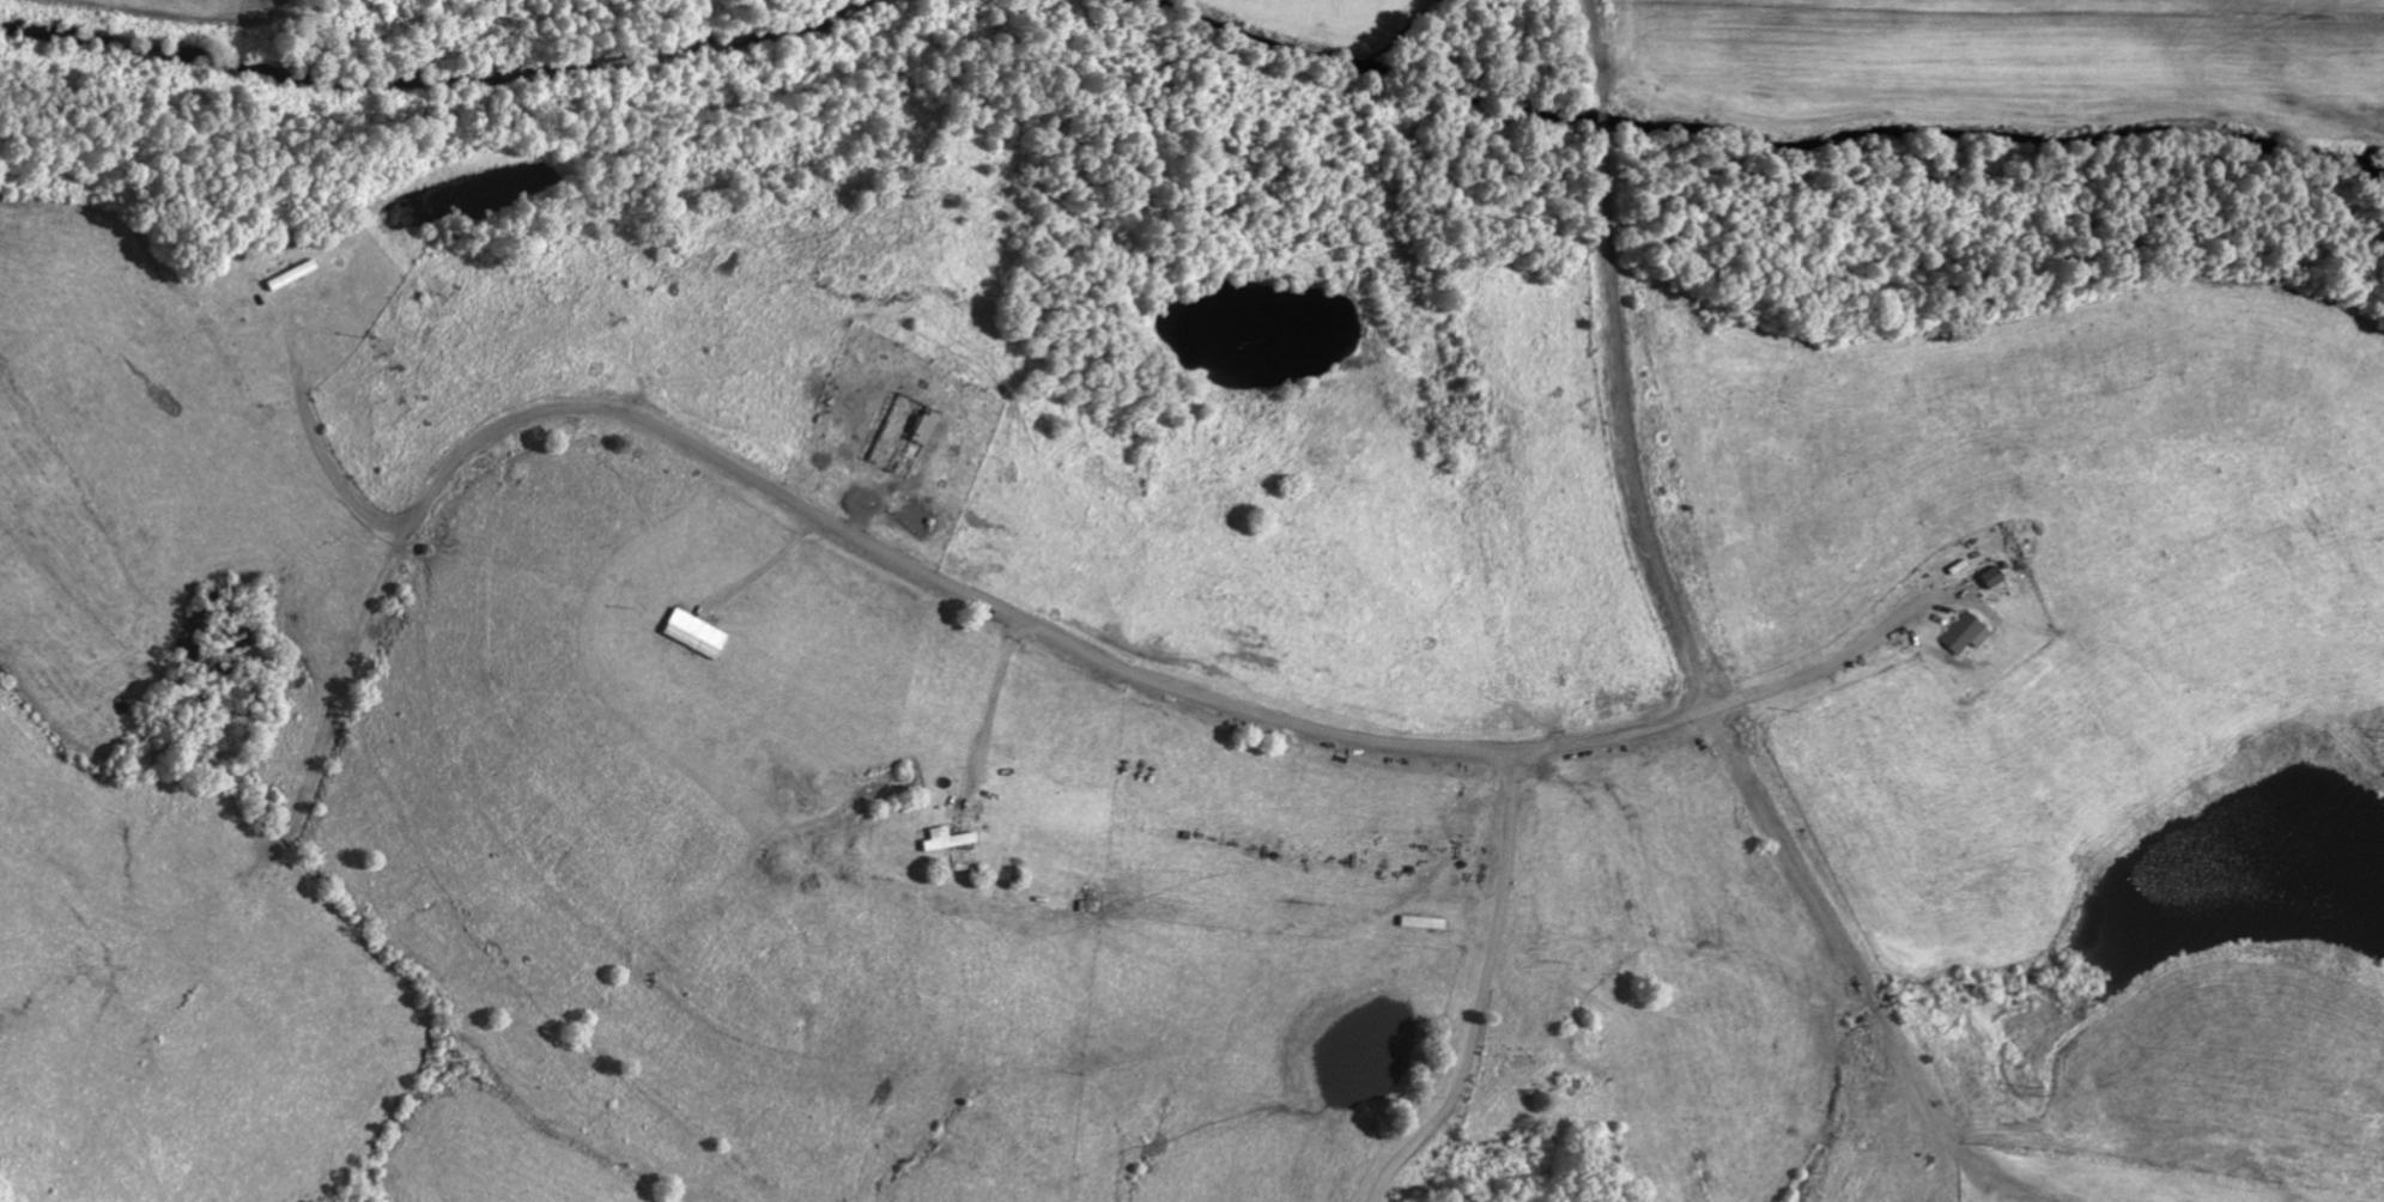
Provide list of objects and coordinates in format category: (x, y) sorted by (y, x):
building: (921, 425)
building: (1990, 577)
building: (1963, 632)
building: (692, 633)
building: (944, 839)

